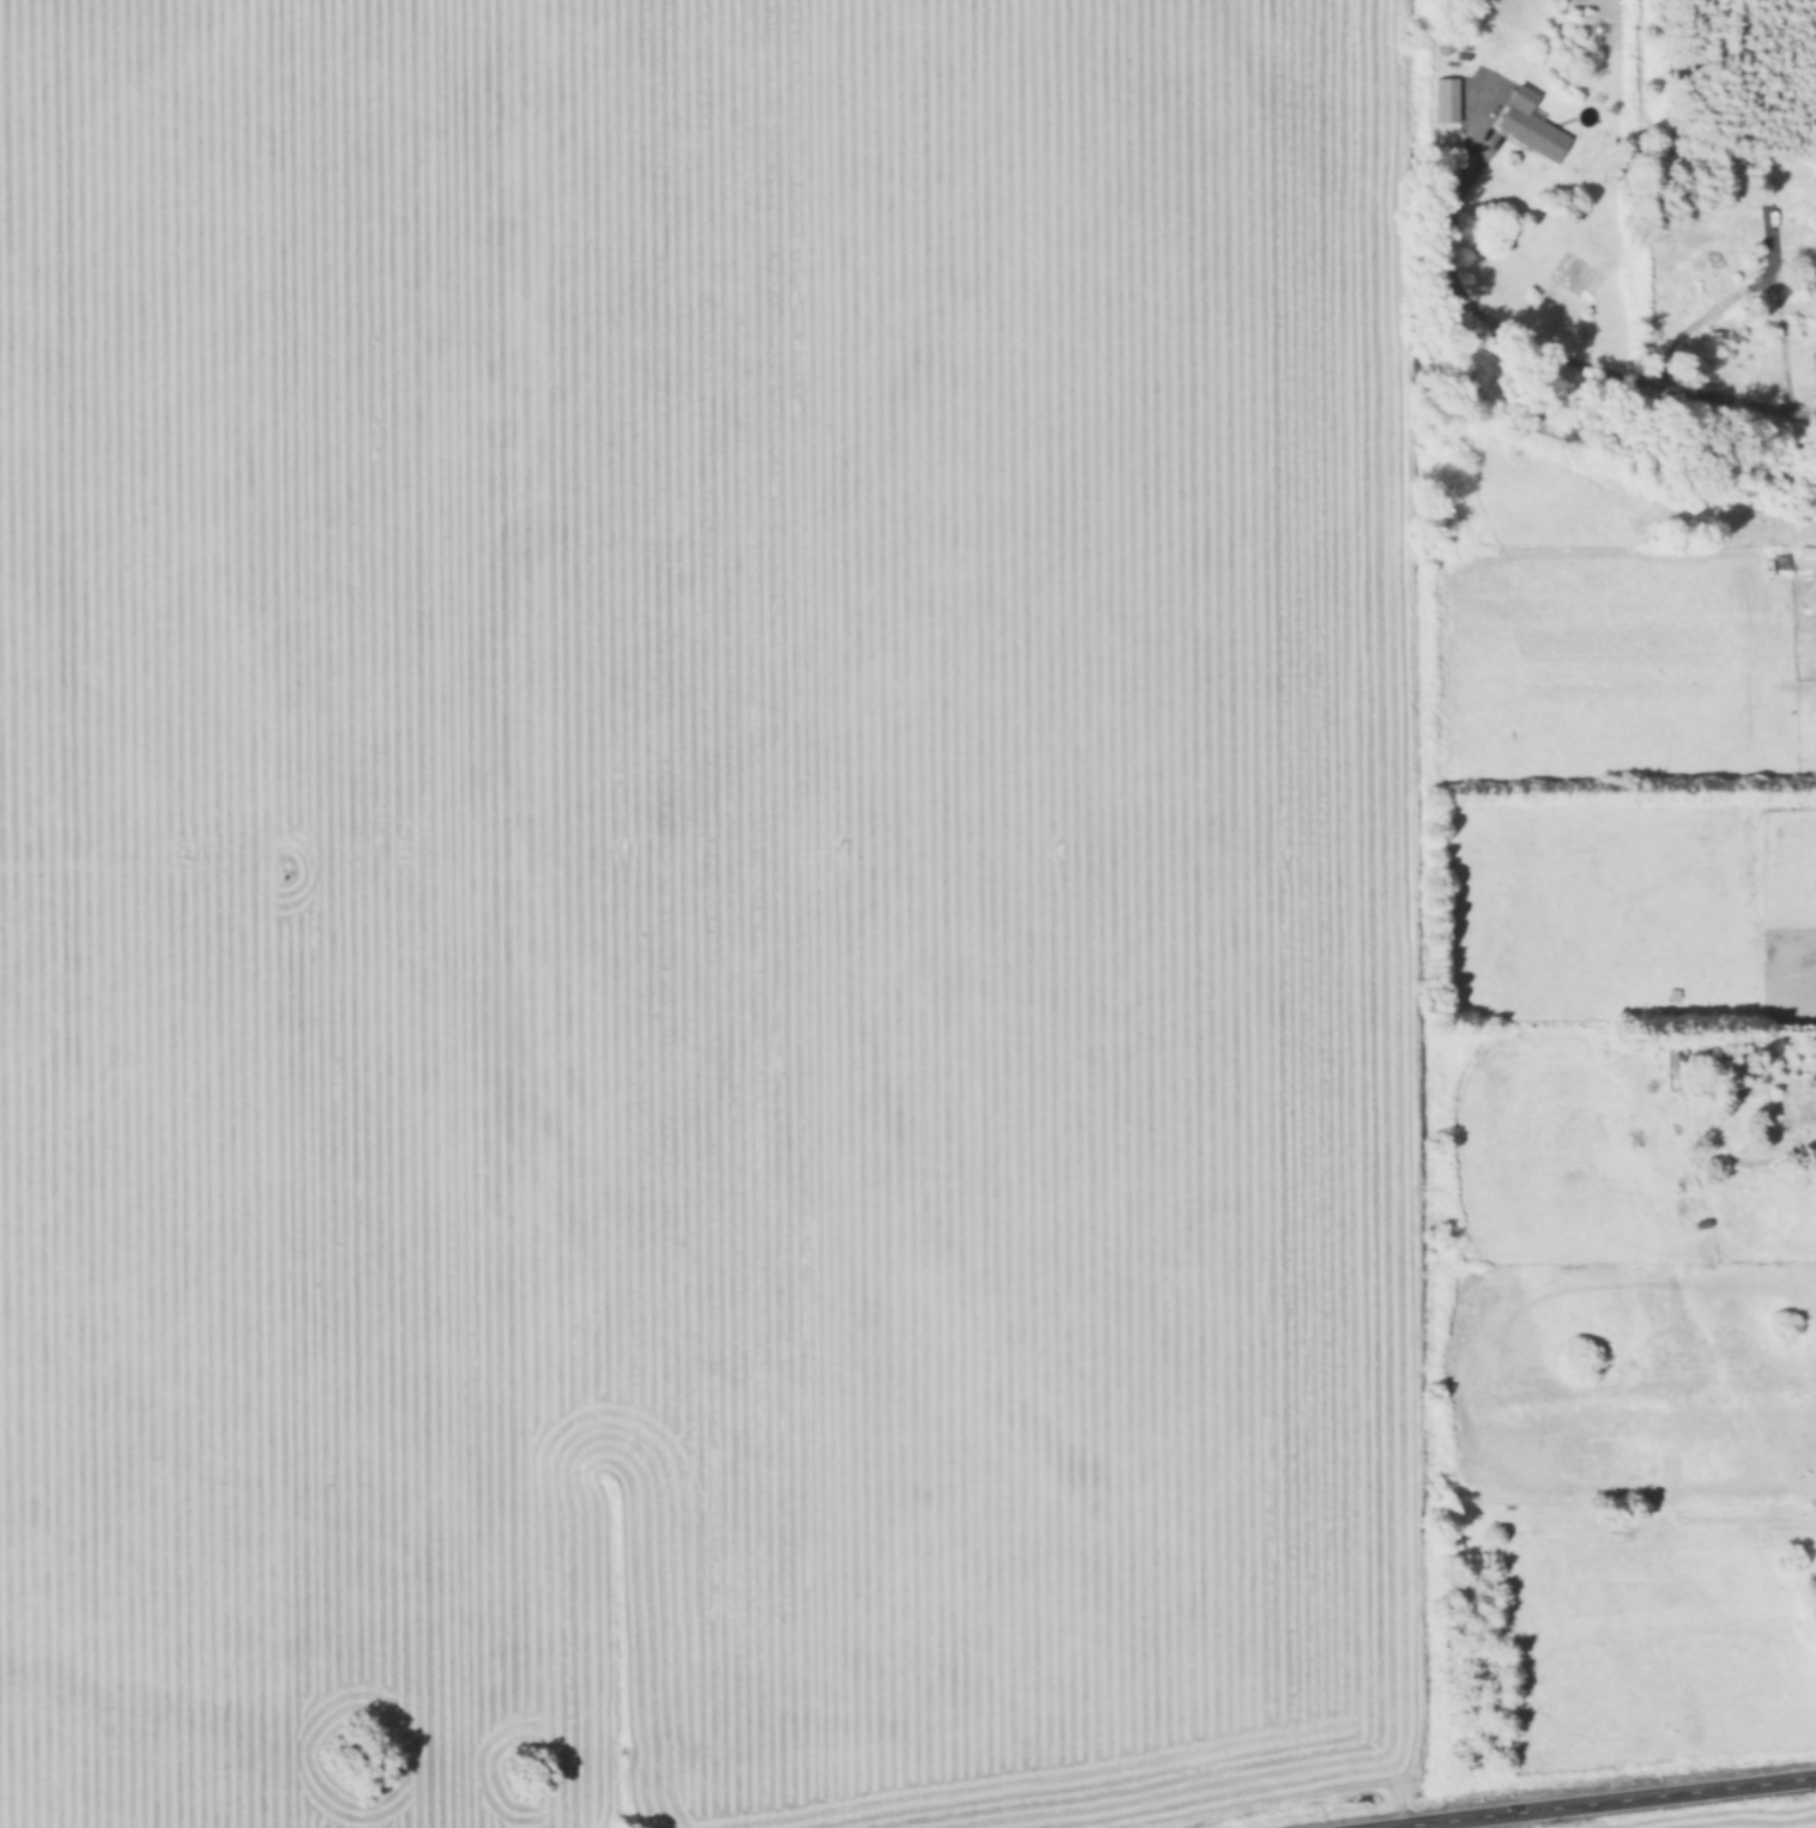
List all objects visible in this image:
building: (1442, 99)
building: (1526, 126)
building: (1772, 222)
road: (1574, 363)
crop: (706, 914)
road: (1609, 1802)
crop: (1747, 1818)

